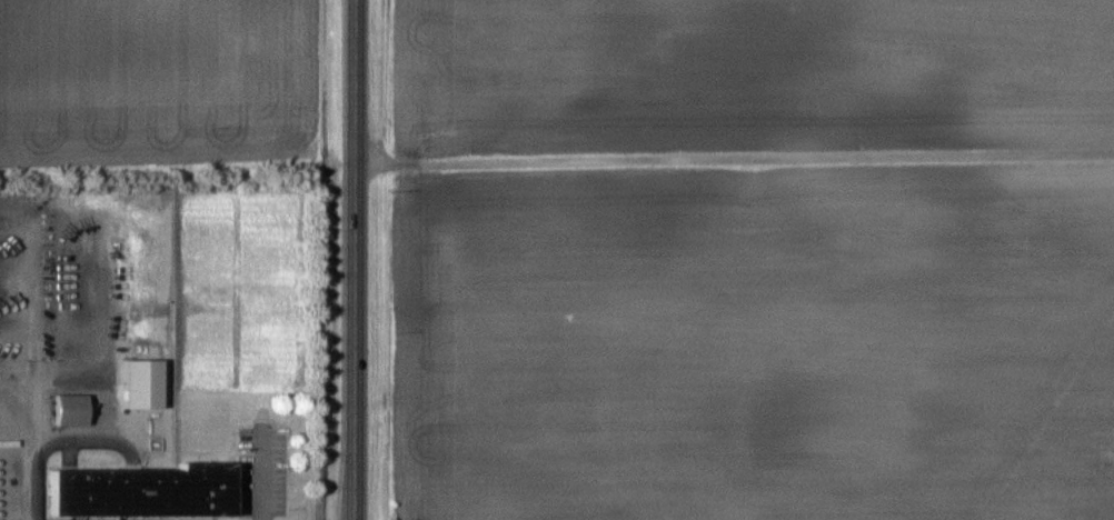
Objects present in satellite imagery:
road: (356, 260)
building: (142, 382)
building: (71, 409)
building: (146, 491)

